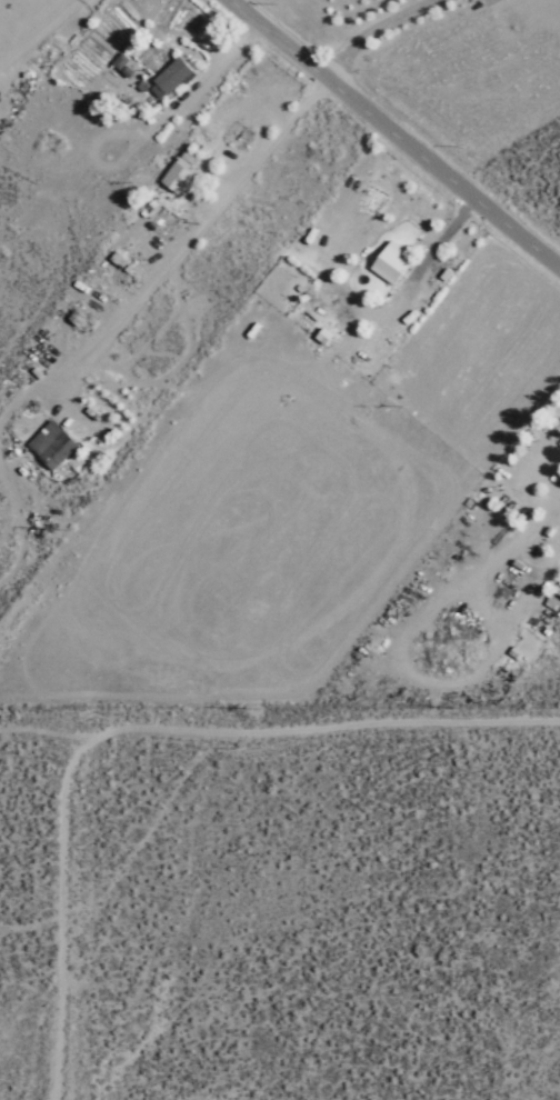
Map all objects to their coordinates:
building: (170, 76)
road: (394, 131)
building: (177, 171)
building: (389, 261)
building: (321, 334)
building: (49, 443)

